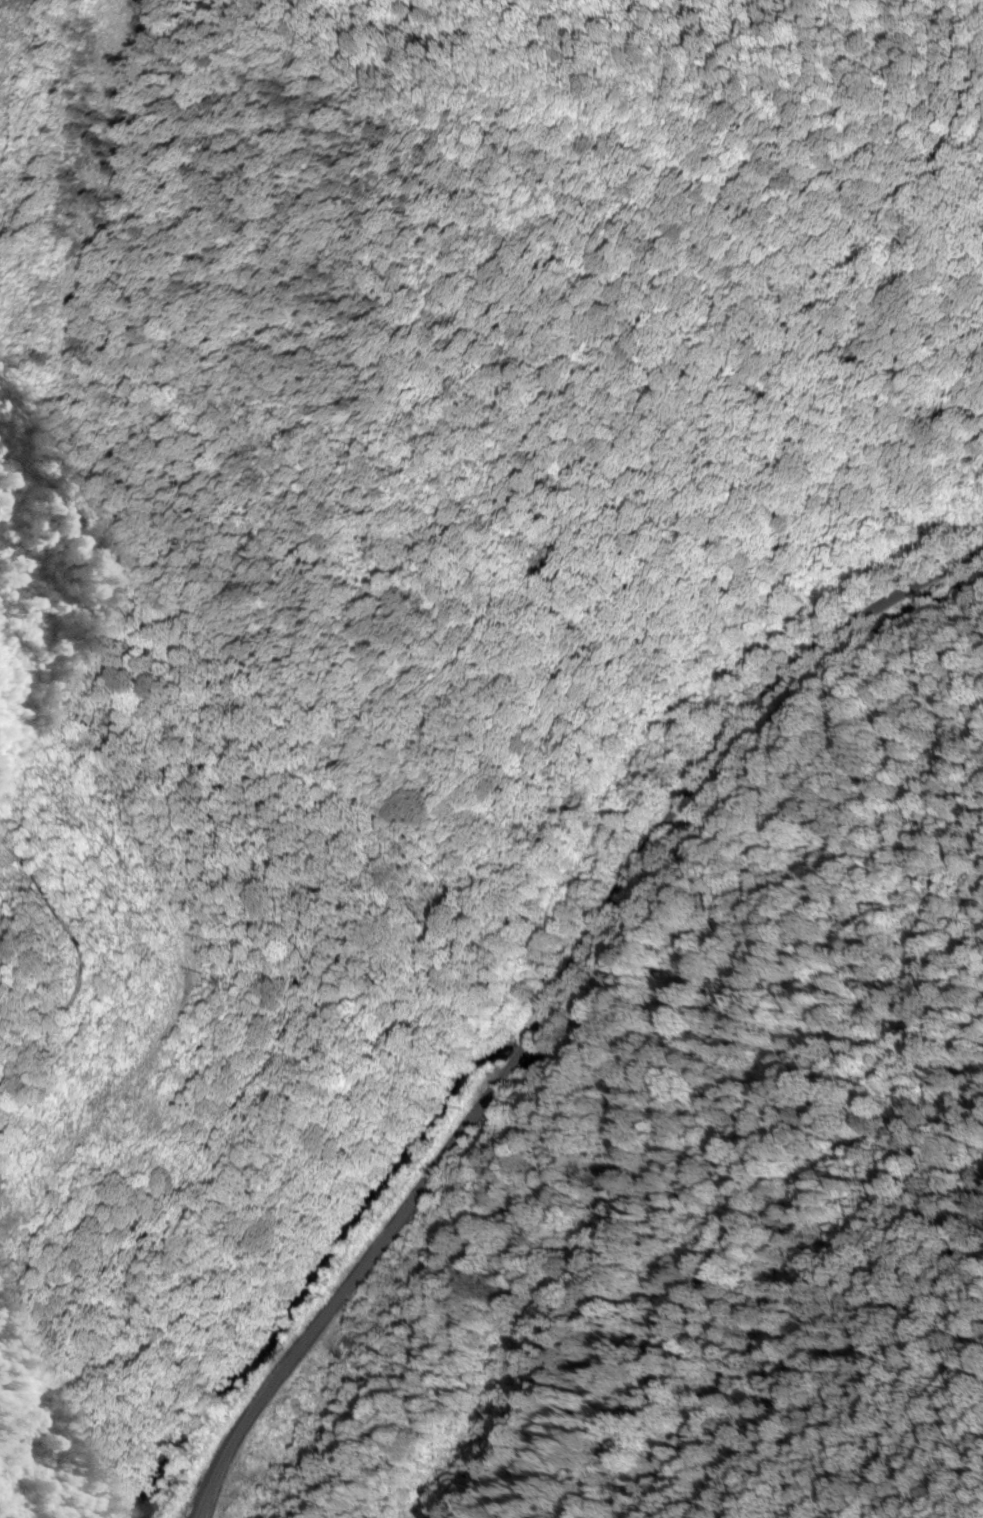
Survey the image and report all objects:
power tower: (16, 968)
power tower: (205, 982)
road: (541, 990)
power tower: (1, 1241)

